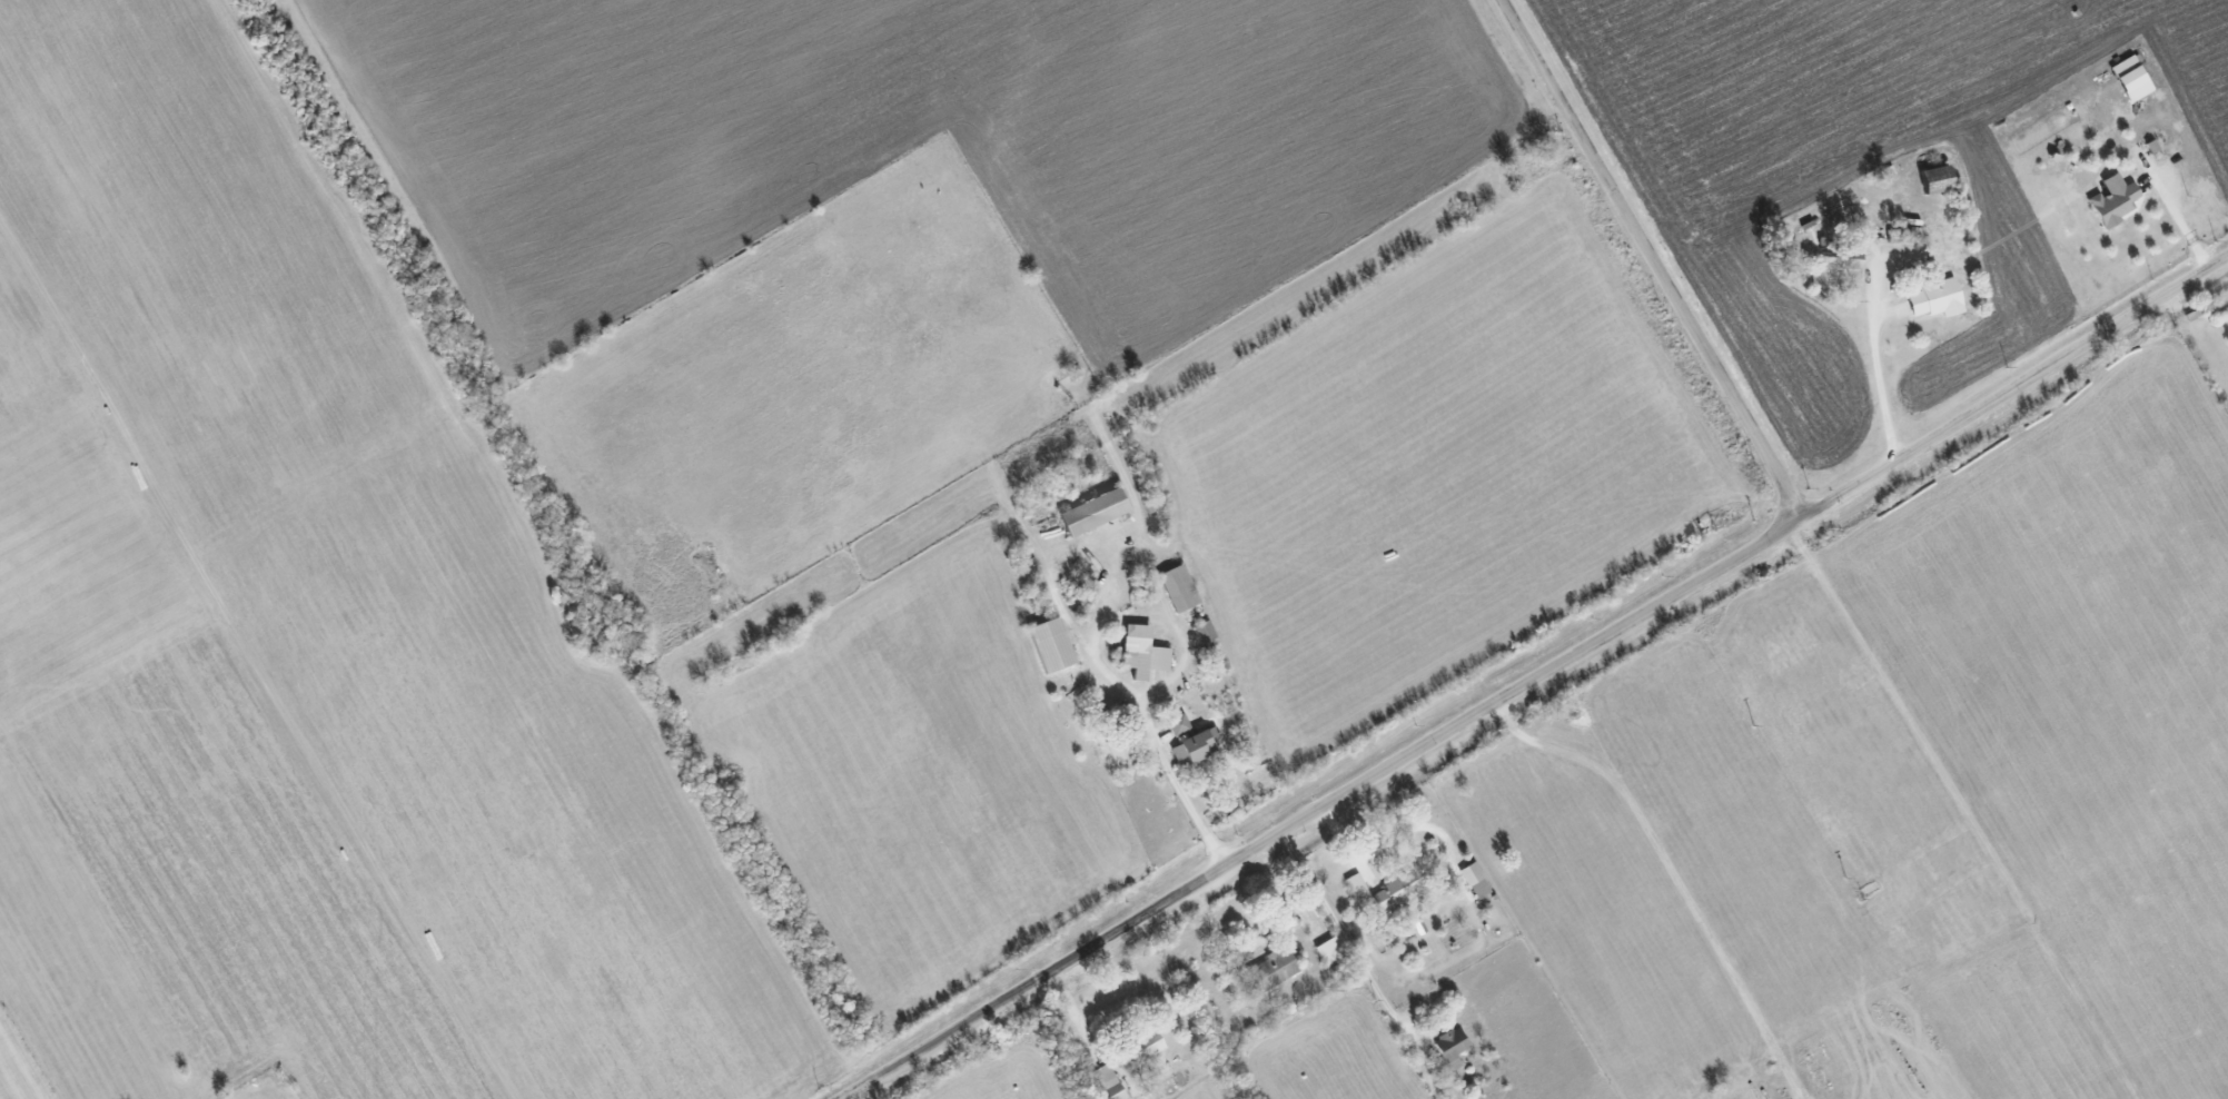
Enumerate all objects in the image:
building: (2131, 81)
building: (2115, 200)
road: (2182, 222)
road: (1654, 259)
building: (1937, 298)
road: (1878, 368)
building: (1095, 511)
building: (1179, 587)
road: (1056, 596)
building: (1206, 633)
building: (1052, 644)
building: (1143, 652)
road: (1536, 680)
building: (1180, 725)
building: (1196, 746)
building: (1120, 750)
road: (1671, 872)
building: (1476, 880)
building: (1356, 885)
building: (1395, 893)
road: (1340, 925)
building: (1329, 949)
building: (1274, 969)
road: (1077, 1016)
building: (1453, 1044)
building: (1145, 1047)
building: (1108, 1082)

